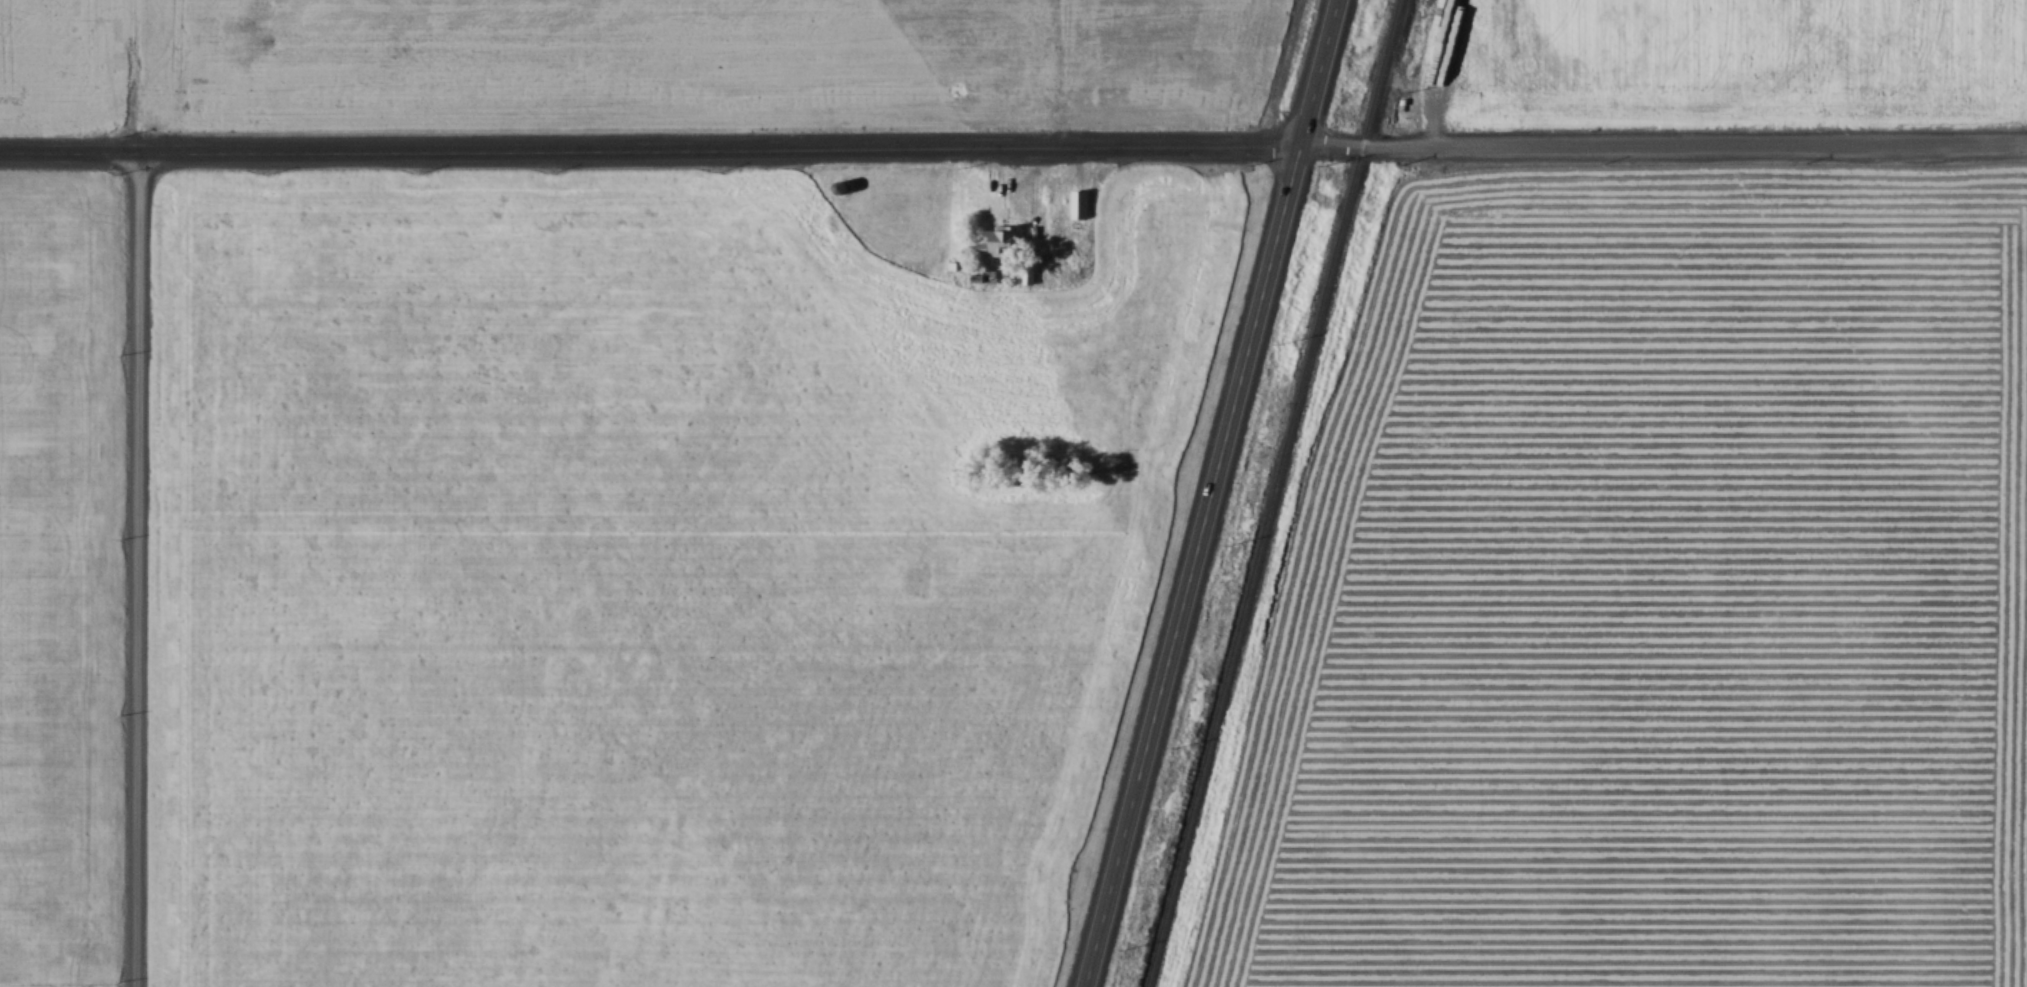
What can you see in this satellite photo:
road: (1664, 145)
road: (651, 147)
building: (1083, 203)
building: (834, 226)
building: (1002, 241)
road: (1213, 493)
railway: (1274, 493)
road: (141, 568)

